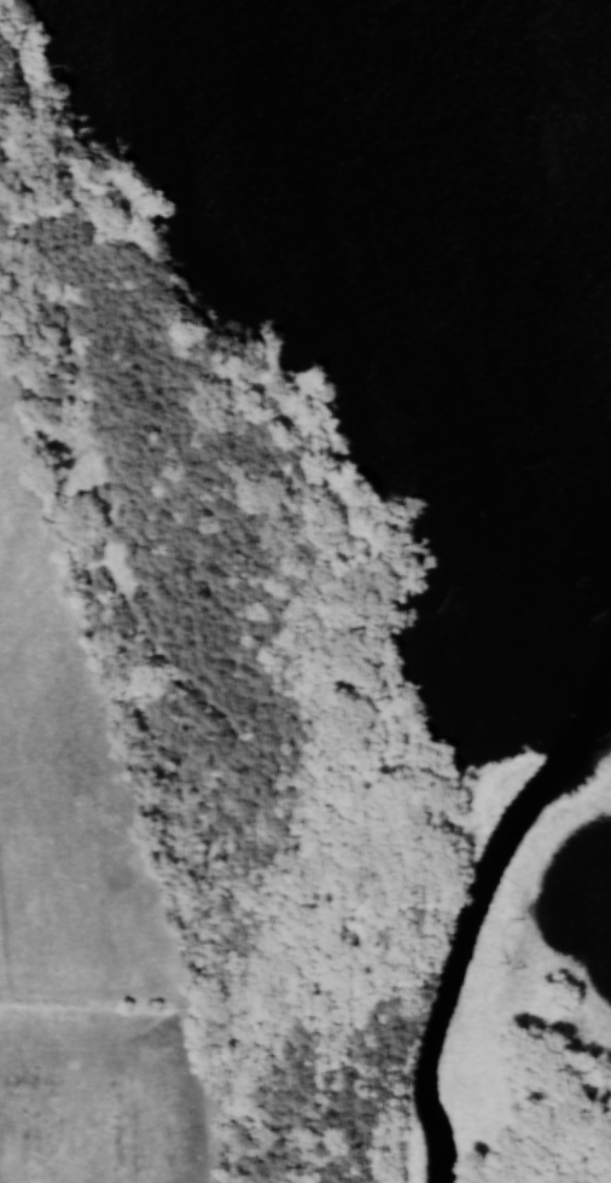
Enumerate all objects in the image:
park: (344, 538)

